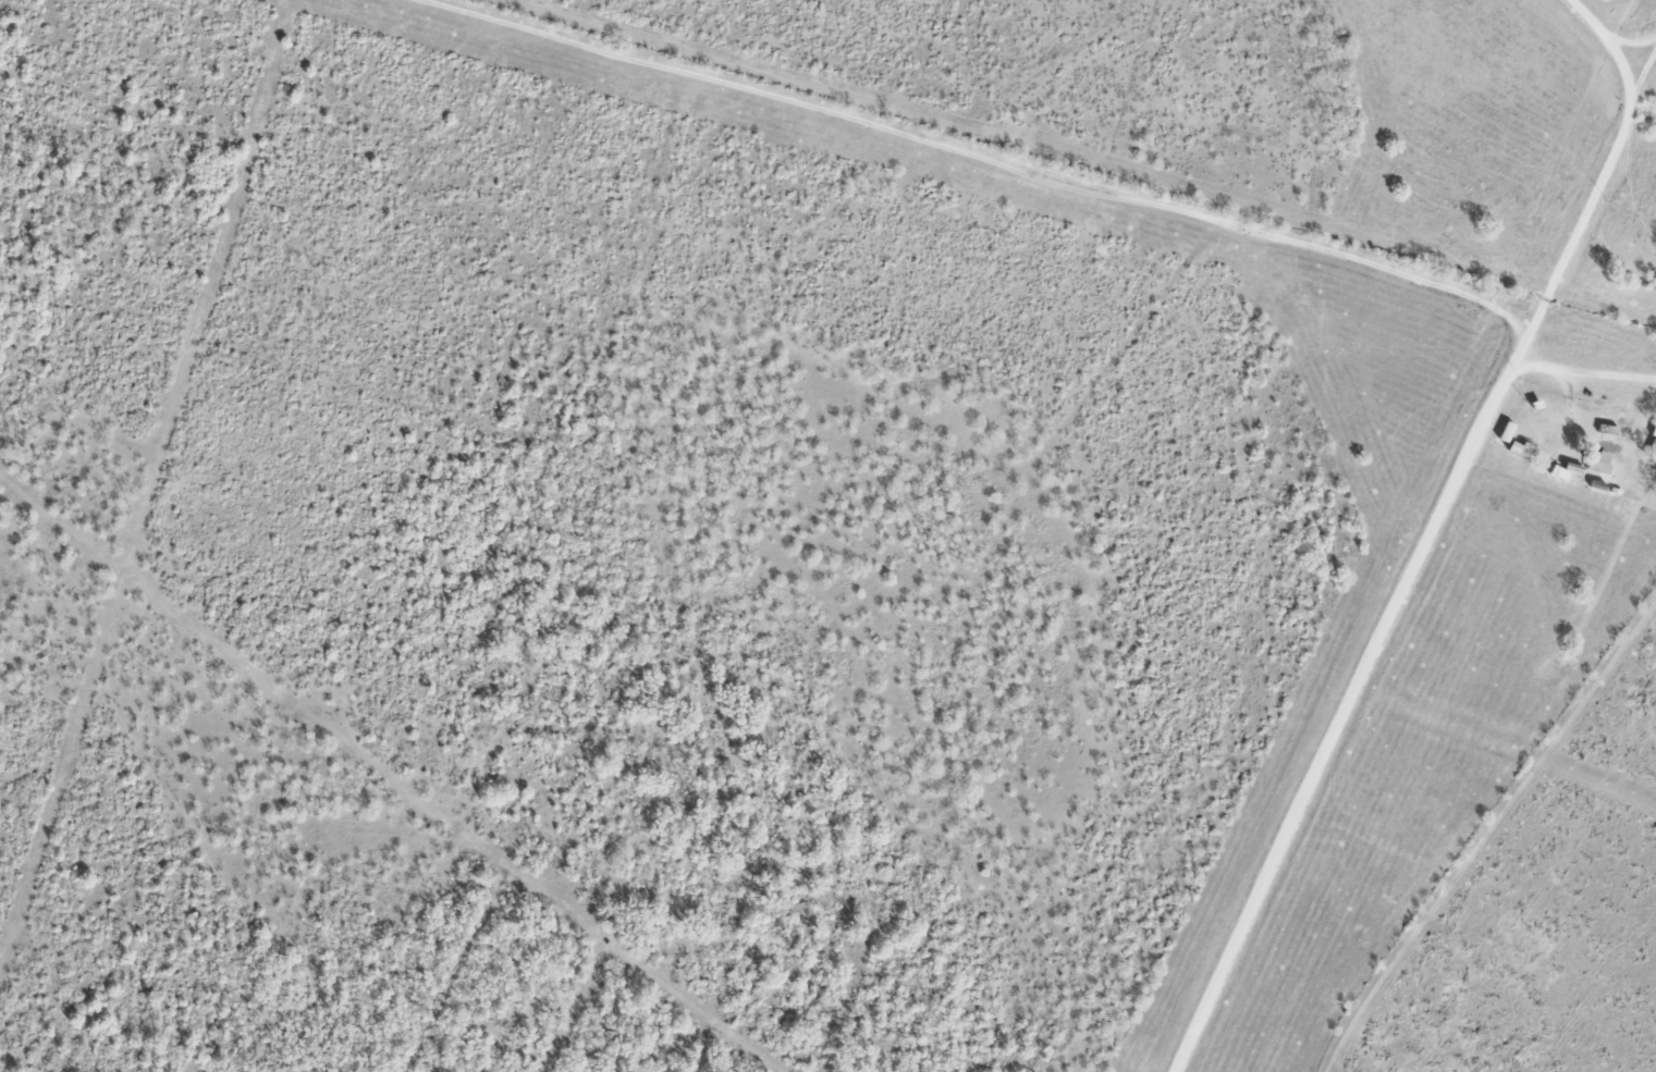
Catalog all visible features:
road: (1615, 34)
road: (1059, 170)
building: (1608, 430)
building: (1654, 444)
building: (1551, 447)
building: (1600, 463)
road: (1421, 564)

